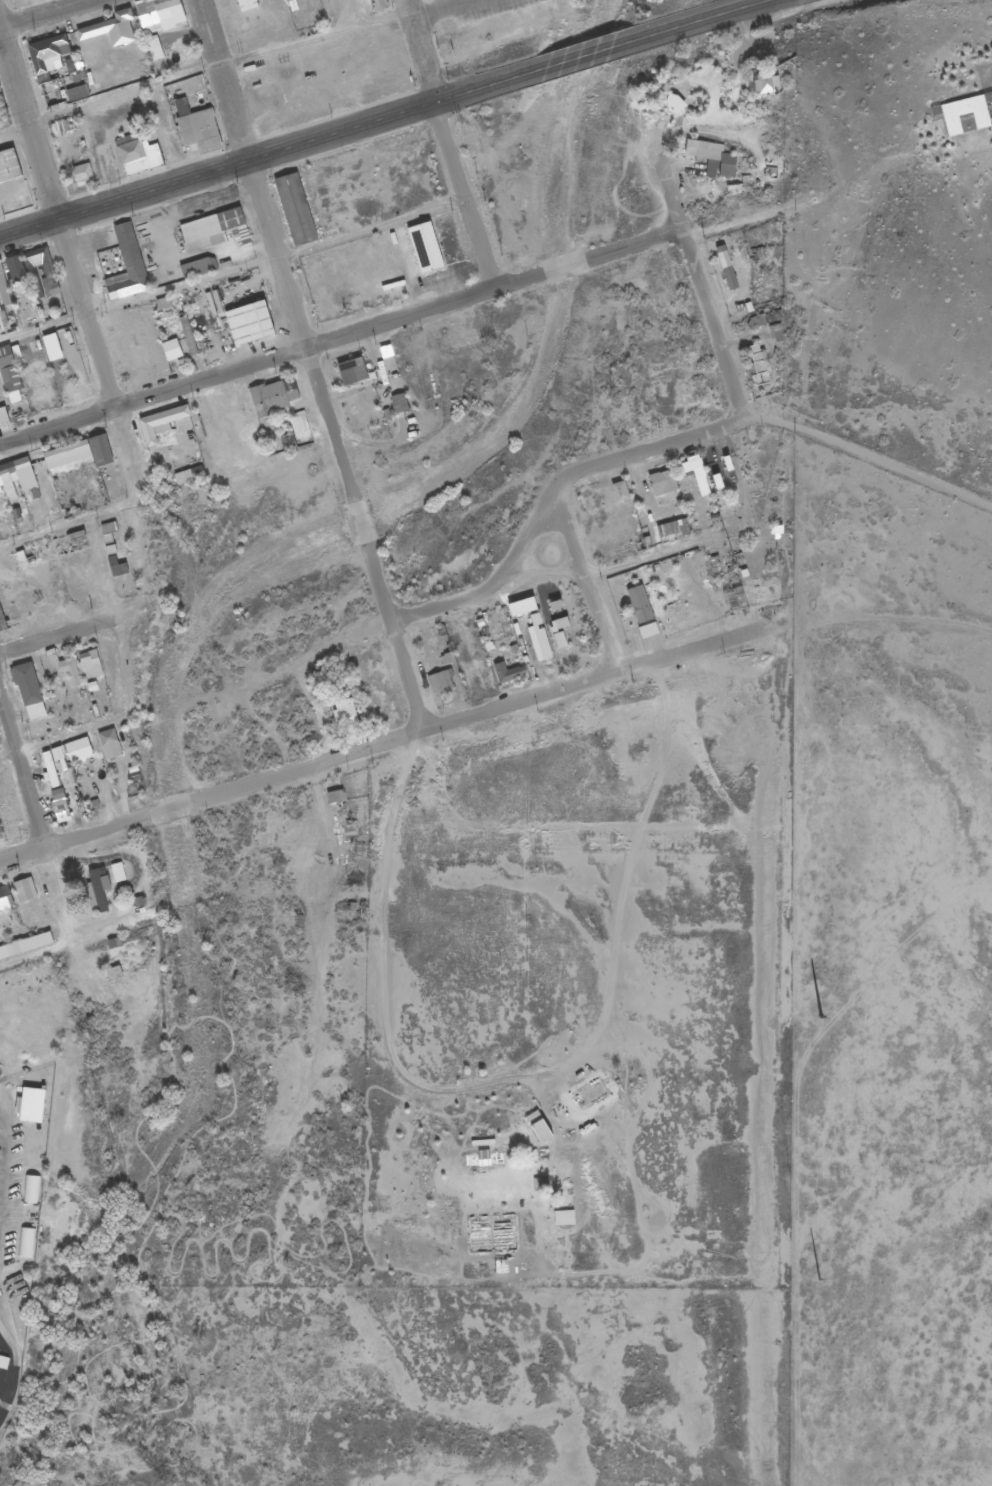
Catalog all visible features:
building: (377, 4)
building: (245, 5)
road: (438, 10)
road: (41, 13)
building: (157, 15)
road: (699, 18)
building: (110, 29)
building: (50, 46)
building: (153, 48)
road: (585, 53)
road: (201, 72)
building: (762, 82)
road: (480, 87)
building: (195, 128)
road: (28, 130)
road: (441, 144)
building: (136, 154)
building: (711, 158)
building: (8, 165)
road: (214, 171)
building: (81, 174)
road: (841, 193)
building: (293, 209)
building: (211, 229)
building: (127, 261)
building: (196, 267)
building: (725, 267)
building: (32, 271)
road: (229, 272)
building: (49, 275)
road: (700, 290)
building: (4, 310)
building: (255, 320)
building: (187, 335)
road: (341, 338)
building: (460, 339)
building: (169, 350)
road: (97, 356)
road: (309, 363)
building: (758, 364)
building: (349, 371)
building: (8, 375)
building: (272, 396)
building: (398, 403)
building: (158, 423)
building: (63, 450)
building: (98, 450)
road: (651, 450)
road: (868, 456)
building: (1, 468)
building: (694, 474)
building: (187, 475)
building: (661, 482)
building: (0, 487)
building: (0, 492)
building: (619, 493)
building: (671, 528)
road: (530, 533)
road: (585, 577)
road: (444, 604)
building: (638, 604)
road: (72, 632)
building: (88, 663)
building: (68, 671)
building: (507, 672)
building: (439, 681)
building: (27, 690)
building: (342, 716)
road: (57, 736)
road: (376, 740)
building: (107, 744)
building: (77, 749)
building: (48, 769)
road: (22, 776)
building: (334, 797)
building: (0, 832)
building: (116, 872)
building: (23, 890)
building: (95, 891)
building: (4, 898)
building: (24, 945)
building: (114, 973)
power tower: (819, 1017)
building: (30, 1105)
building: (30, 1190)
building: (25, 1242)
power tower: (818, 1280)
building: (3, 1362)

